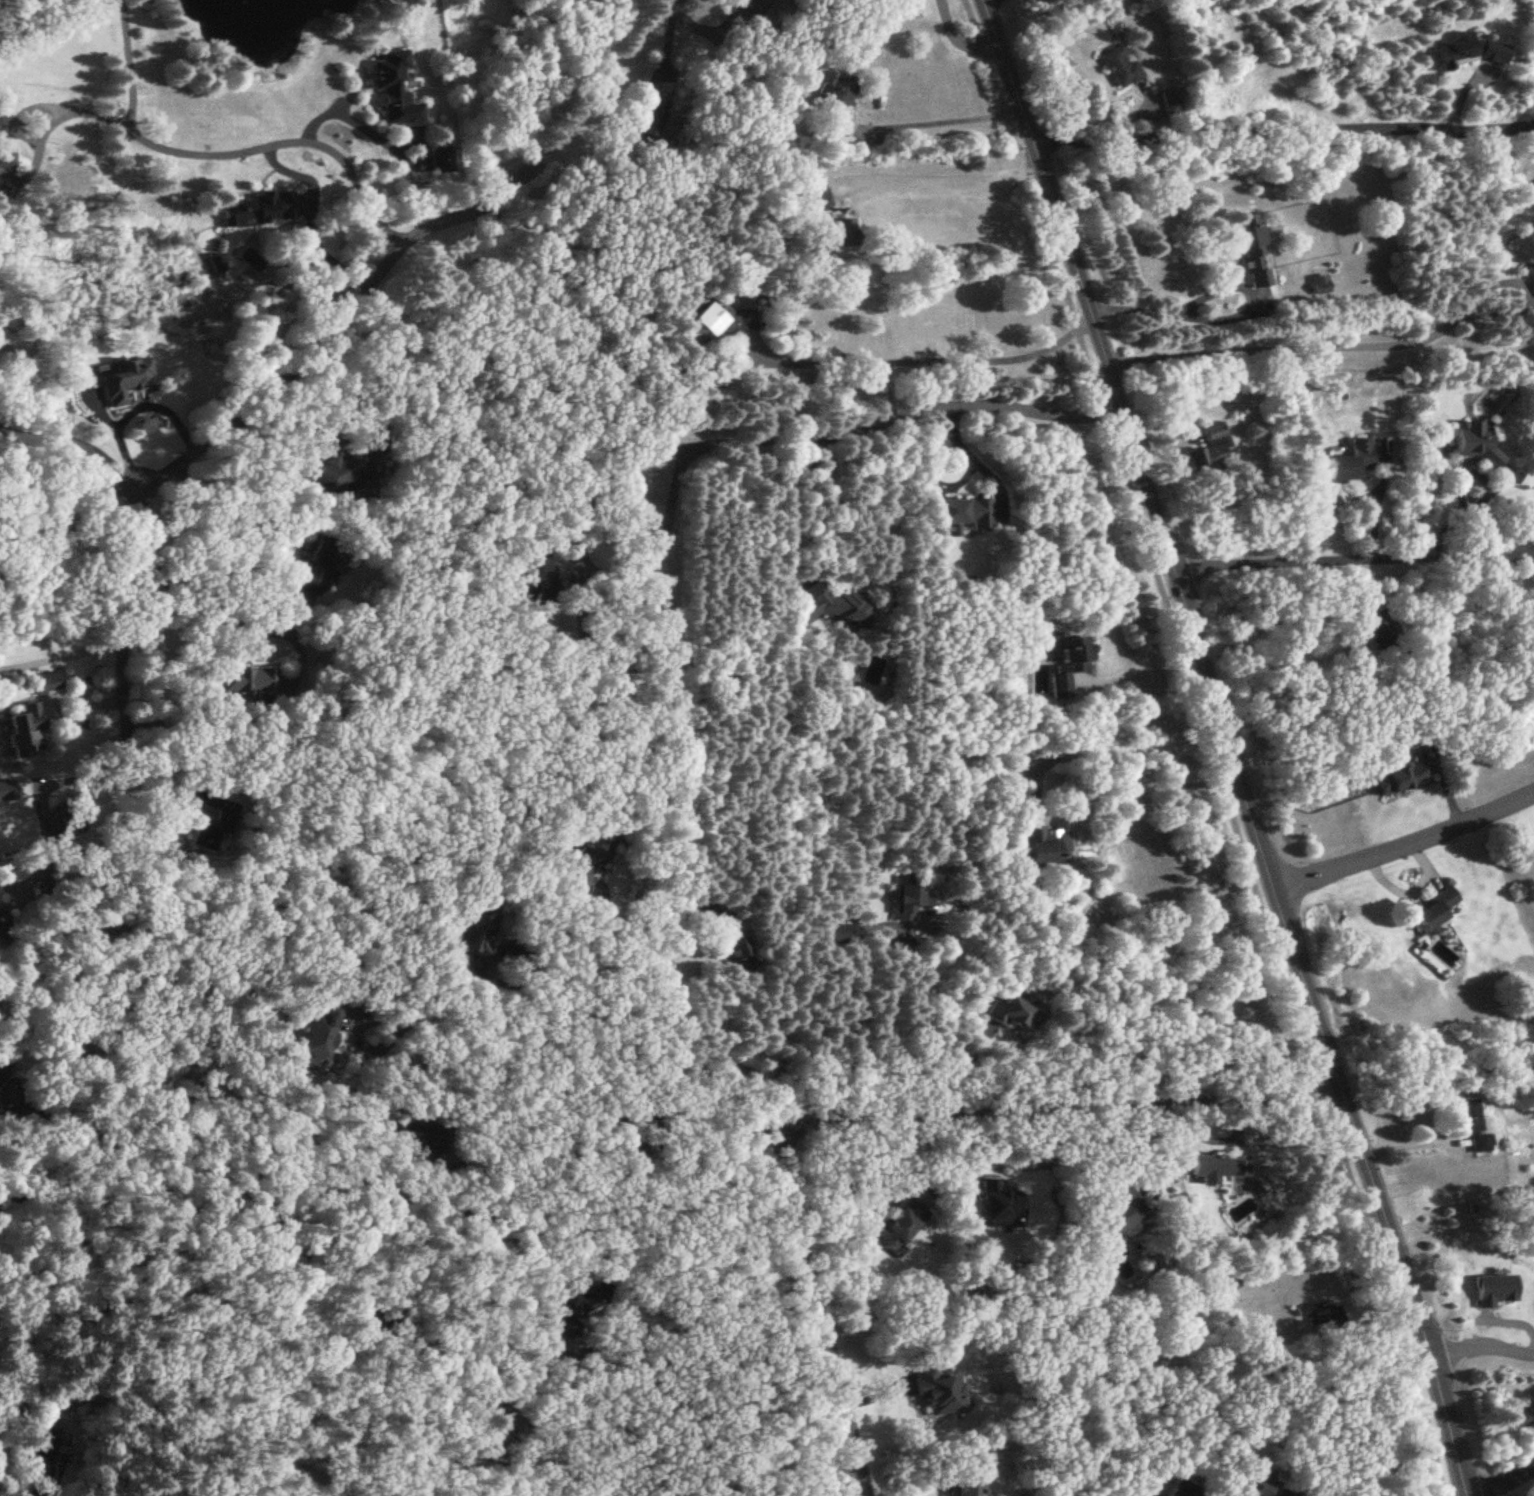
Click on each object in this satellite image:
building: (746, 13)
road: (959, 40)
building: (1120, 64)
road: (129, 65)
building: (395, 87)
building: (837, 99)
road: (337, 111)
building: (651, 112)
road: (953, 117)
road: (1284, 134)
road: (253, 148)
building: (7, 156)
road: (919, 168)
building: (263, 208)
building: (844, 232)
building: (1250, 243)
building: (1525, 250)
building: (1318, 284)
road: (1223, 287)
building: (719, 321)
road: (1312, 344)
road: (303, 357)
road: (928, 359)
building: (122, 378)
road: (348, 392)
road: (131, 411)
road: (719, 441)
road: (76, 443)
building: (1211, 448)
building: (1350, 460)
building: (344, 475)
road: (1353, 499)
building: (961, 513)
road: (218, 535)
road: (1354, 560)
building: (318, 564)
building: (537, 577)
building: (830, 604)
road: (208, 608)
road: (62, 655)
road: (1144, 657)
building: (1067, 661)
building: (615, 662)
building: (244, 681)
building: (47, 682)
building: (26, 730)
road: (1211, 746)
road: (1231, 747)
building: (1399, 775)
road: (1117, 778)
building: (212, 829)
road: (1406, 843)
building: (1040, 848)
building: (584, 863)
building: (48, 887)
building: (911, 899)
building: (1434, 909)
building: (3, 930)
building: (477, 930)
building: (732, 937)
road: (669, 960)
road: (522, 985)
road: (882, 1001)
building: (1015, 1014)
building: (316, 1032)
road: (858, 1034)
road: (580, 1046)
road: (907, 1052)
building: (1473, 1124)
building: (421, 1136)
road: (1417, 1142)
building: (632, 1153)
building: (1219, 1165)
road: (1107, 1172)
road: (718, 1173)
road: (483, 1174)
road: (895, 1182)
road: (61, 1184)
building: (1000, 1204)
building: (1116, 1216)
building: (900, 1222)
building: (1233, 1282)
building: (582, 1308)
road: (819, 1309)
building: (1322, 1320)
road: (1485, 1344)
road: (704, 1352)
building: (939, 1391)
road: (363, 1410)
building: (1520, 1415)
building: (491, 1430)
building: (43, 1444)
road: (835, 1471)
road: (10, 1478)
road: (1504, 1478)
building: (1262, 1487)
building: (965, 1489)

